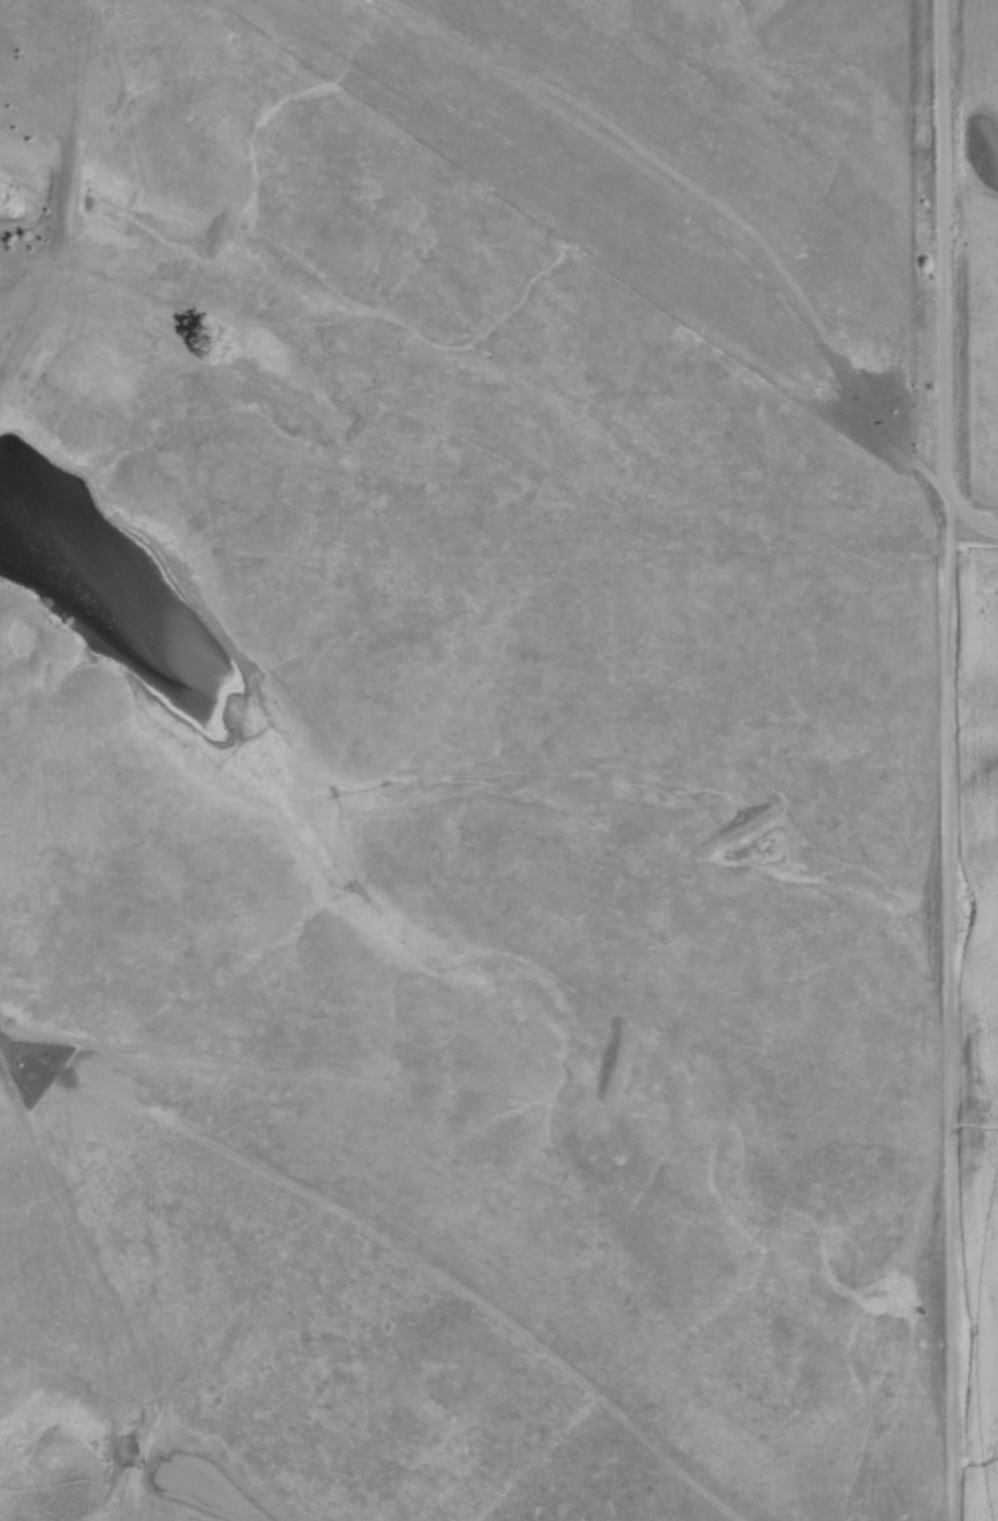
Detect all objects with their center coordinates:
road: (944, 233)
road: (959, 511)

